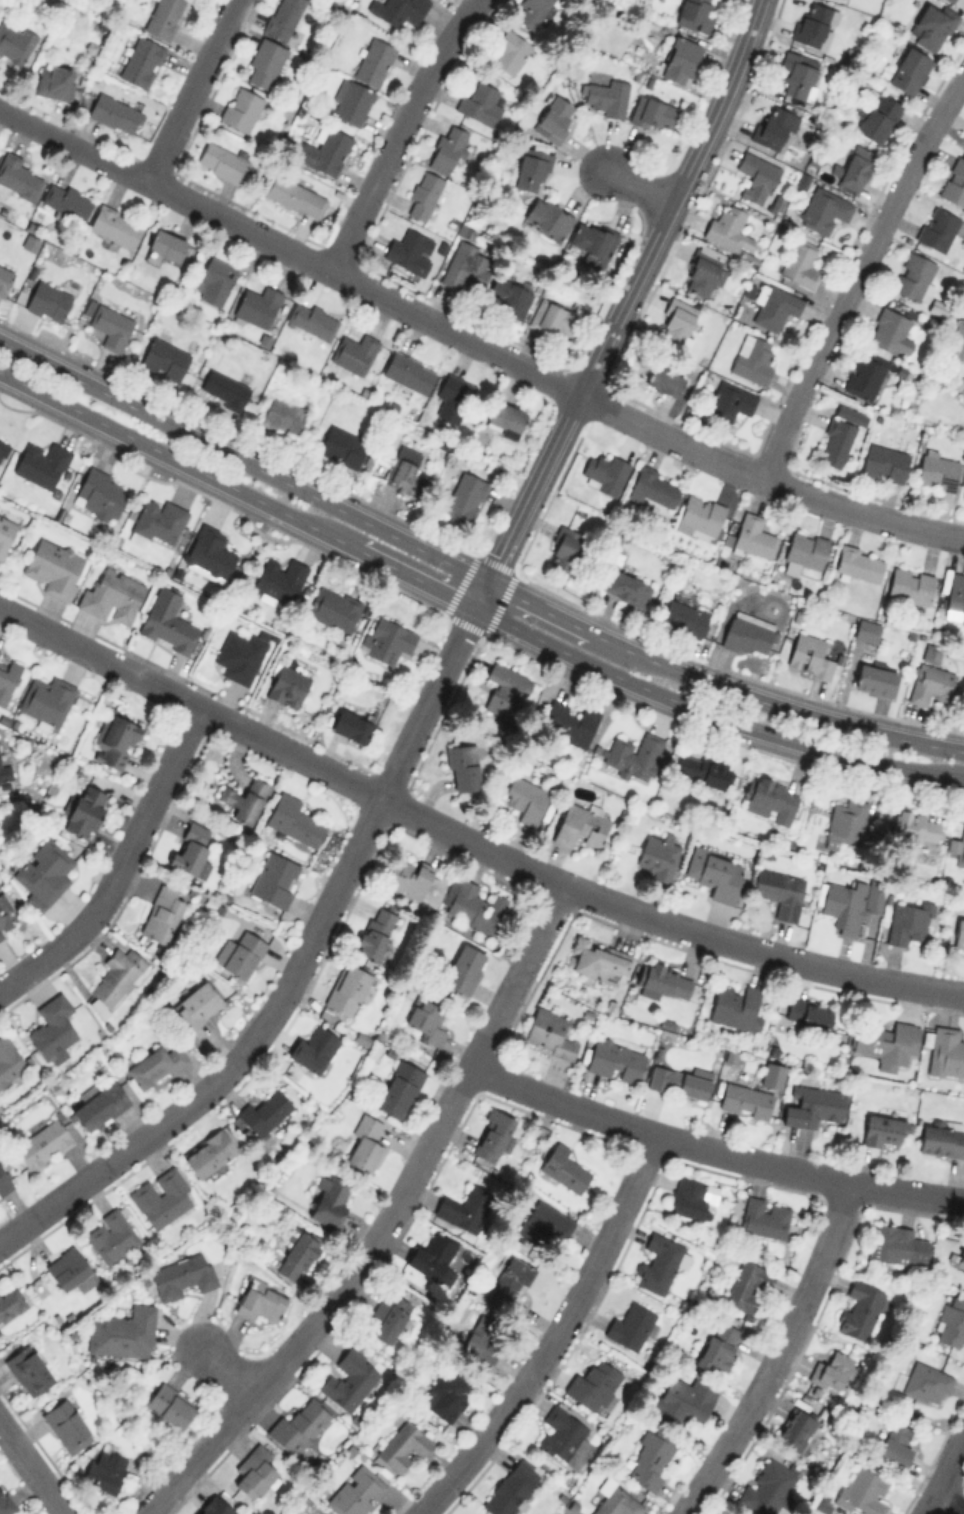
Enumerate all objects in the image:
building: (950, 1)
building: (397, 10)
building: (530, 12)
building: (694, 14)
building: (163, 17)
building: (282, 17)
building: (814, 24)
building: (932, 25)
building: (510, 51)
building: (680, 59)
building: (141, 61)
building: (373, 61)
building: (264, 62)
building: (908, 70)
building: (797, 74)
building: (55, 81)
road: (192, 88)
building: (604, 96)
building: (350, 101)
building: (481, 103)
building: (241, 108)
building: (653, 112)
building: (115, 113)
building: (878, 117)
building: (554, 118)
building: (774, 128)
road: (397, 129)
road: (72, 145)
building: (446, 148)
building: (324, 150)
building: (224, 161)
building: (531, 166)
building: (855, 169)
building: (756, 176)
building: (18, 178)
building: (954, 182)
road: (637, 187)
building: (423, 194)
building: (294, 196)
building: (67, 200)
building: (823, 209)
building: (548, 217)
building: (115, 225)
building: (727, 228)
building: (937, 228)
building: (592, 240)
building: (166, 244)
building: (410, 251)
building: (800, 263)
building: (466, 265)
building: (702, 273)
road: (857, 273)
building: (914, 276)
building: (4, 278)
building: (214, 280)
road: (627, 292)
building: (508, 296)
building: (47, 301)
building: (257, 306)
building: (775, 306)
building: (553, 318)
building: (311, 320)
building: (677, 323)
building: (110, 326)
building: (889, 330)
building: (959, 338)
building: (354, 352)
building: (164, 358)
building: (752, 359)
building: (408, 371)
building: (864, 374)
road: (547, 377)
building: (664, 380)
building: (223, 389)
building: (452, 397)
building: (962, 397)
building: (729, 400)
building: (283, 415)
building: (504, 418)
building: (840, 434)
building: (342, 446)
building: (2, 448)
road: (242, 460)
building: (884, 462)
building: (41, 463)
building: (401, 468)
building: (604, 472)
building: (937, 472)
building: (655, 487)
building: (98, 493)
building: (963, 496)
building: (466, 497)
building: (700, 513)
building: (156, 523)
building: (6, 532)
building: (753, 536)
building: (564, 548)
building: (803, 551)
building: (209, 553)
building: (858, 563)
building: (54, 567)
building: (279, 580)
building: (910, 585)
building: (625, 586)
road: (479, 593)
building: (954, 596)
building: (112, 597)
road: (470, 604)
road: (538, 606)
building: (333, 608)
building: (683, 617)
building: (167, 622)
building: (866, 630)
building: (748, 633)
building: (386, 639)
building: (240, 653)
building: (809, 655)
building: (875, 678)
building: (8, 679)
building: (931, 683)
building: (287, 684)
building: (505, 689)
building: (46, 699)
road: (191, 702)
road: (773, 703)
building: (568, 722)
building: (351, 725)
building: (114, 739)
building: (635, 755)
building: (462, 767)
building: (703, 770)
building: (5, 772)
building: (525, 798)
building: (244, 799)
building: (769, 799)
building: (84, 810)
building: (293, 820)
building: (844, 822)
building: (581, 824)
building: (912, 827)
building: (190, 847)
building: (957, 848)
building: (657, 855)
road: (120, 863)
building: (43, 873)
building: (715, 873)
building: (412, 875)
building: (274, 878)
building: (780, 891)
building: (874, 900)
building: (843, 905)
building: (475, 907)
building: (160, 914)
building: (7, 915)
road: (665, 922)
building: (908, 922)
building: (374, 933)
building: (959, 935)
building: (239, 953)
building: (597, 960)
building: (464, 968)
road: (295, 971)
building: (115, 980)
building: (661, 980)
building: (347, 989)
building: (196, 1004)
building: (735, 1007)
building: (807, 1012)
building: (424, 1019)
building: (52, 1027)
building: (549, 1032)
building: (885, 1041)
building: (312, 1049)
building: (945, 1051)
building: (9, 1059)
building: (615, 1060)
building: (155, 1065)
building: (680, 1081)
building: (398, 1088)
building: (745, 1100)
building: (99, 1104)
building: (812, 1105)
building: (263, 1112)
building: (882, 1130)
building: (493, 1135)
building: (941, 1137)
building: (365, 1143)
building: (42, 1144)
road: (713, 1149)
building: (208, 1152)
building: (563, 1168)
building: (4, 1180)
building: (161, 1196)
building: (687, 1197)
building: (330, 1199)
building: (464, 1208)
building: (763, 1217)
road: (385, 1222)
building: (545, 1227)
building: (111, 1236)
building: (896, 1244)
building: (296, 1253)
building: (431, 1256)
building: (959, 1261)
building: (657, 1263)
building: (70, 1270)
building: (182, 1275)
building: (508, 1279)
building: (747, 1285)
building: (260, 1300)
building: (10, 1301)
building: (859, 1310)
building: (388, 1316)
building: (951, 1322)
building: (631, 1326)
building: (122, 1332)
road: (553, 1334)
building: (483, 1337)
building: (717, 1347)
road: (777, 1354)
building: (28, 1369)
road: (231, 1370)
building: (831, 1370)
building: (349, 1379)
building: (926, 1383)
building: (592, 1385)
building: (445, 1394)
building: (685, 1400)
building: (170, 1405)
building: (66, 1425)
building: (298, 1426)
building: (795, 1429)
building: (559, 1433)
building: (895, 1443)
building: (403, 1446)
building: (649, 1459)
road: (33, 1470)
building: (104, 1470)
building: (254, 1472)
road: (944, 1475)
building: (767, 1487)
building: (510, 1488)
building: (355, 1491)
building: (862, 1492)
building: (5, 1502)
building: (616, 1502)
road: (949, 1504)
building: (215, 1506)
building: (476, 1513)

